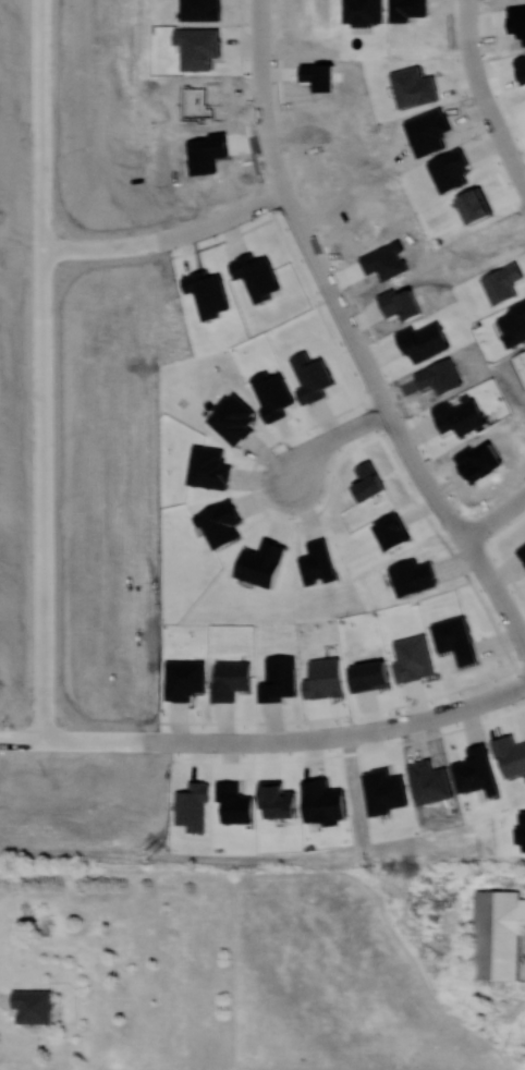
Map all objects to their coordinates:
building: (413, 86)
road: (481, 96)
road: (40, 114)
building: (450, 170)
building: (475, 205)
road: (167, 236)
road: (41, 239)
building: (514, 324)
road: (353, 337)
building: (424, 340)
building: (312, 377)
building: (272, 393)
building: (460, 416)
building: (232, 417)
road: (334, 438)
building: (209, 466)
building: (368, 481)
road: (41, 496)
road: (496, 515)
building: (220, 523)
building: (522, 551)
building: (262, 562)
building: (412, 658)
building: (368, 676)
building: (184, 679)
building: (231, 679)
building: (325, 679)
road: (441, 714)
road: (346, 734)
road: (170, 741)
building: (476, 770)
building: (322, 801)
building: (234, 802)
building: (193, 805)
park: (306, 851)
building: (498, 934)
building: (33, 1006)

